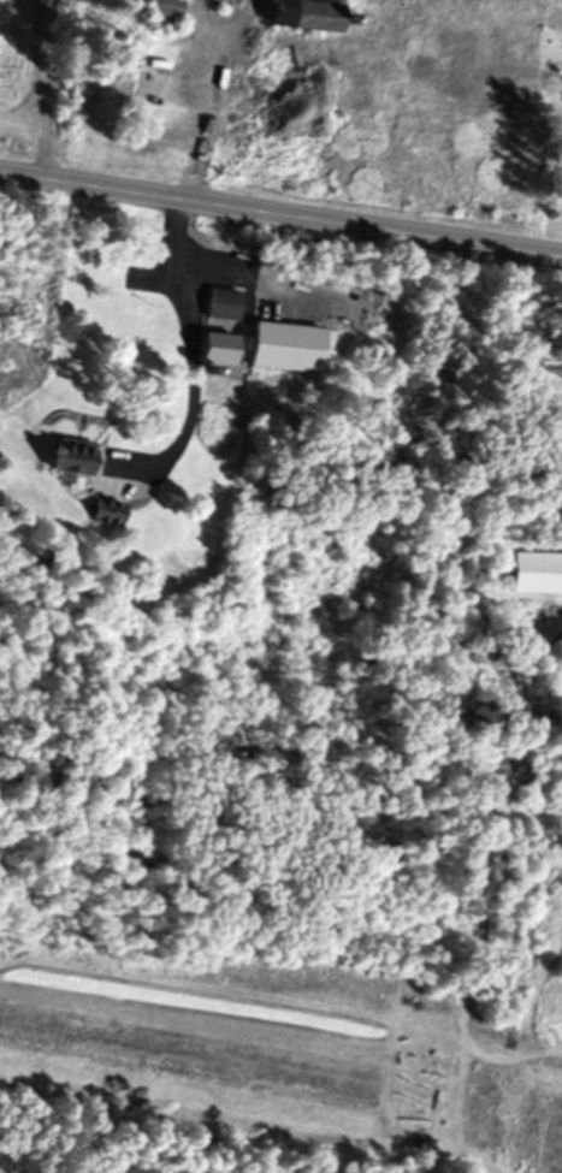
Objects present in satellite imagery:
building: (166, 11)
building: (310, 14)
road: (221, 97)
road: (280, 209)
building: (225, 303)
building: (289, 345)
building: (221, 346)
road: (202, 353)
building: (73, 454)
building: (108, 510)
building: (537, 571)

